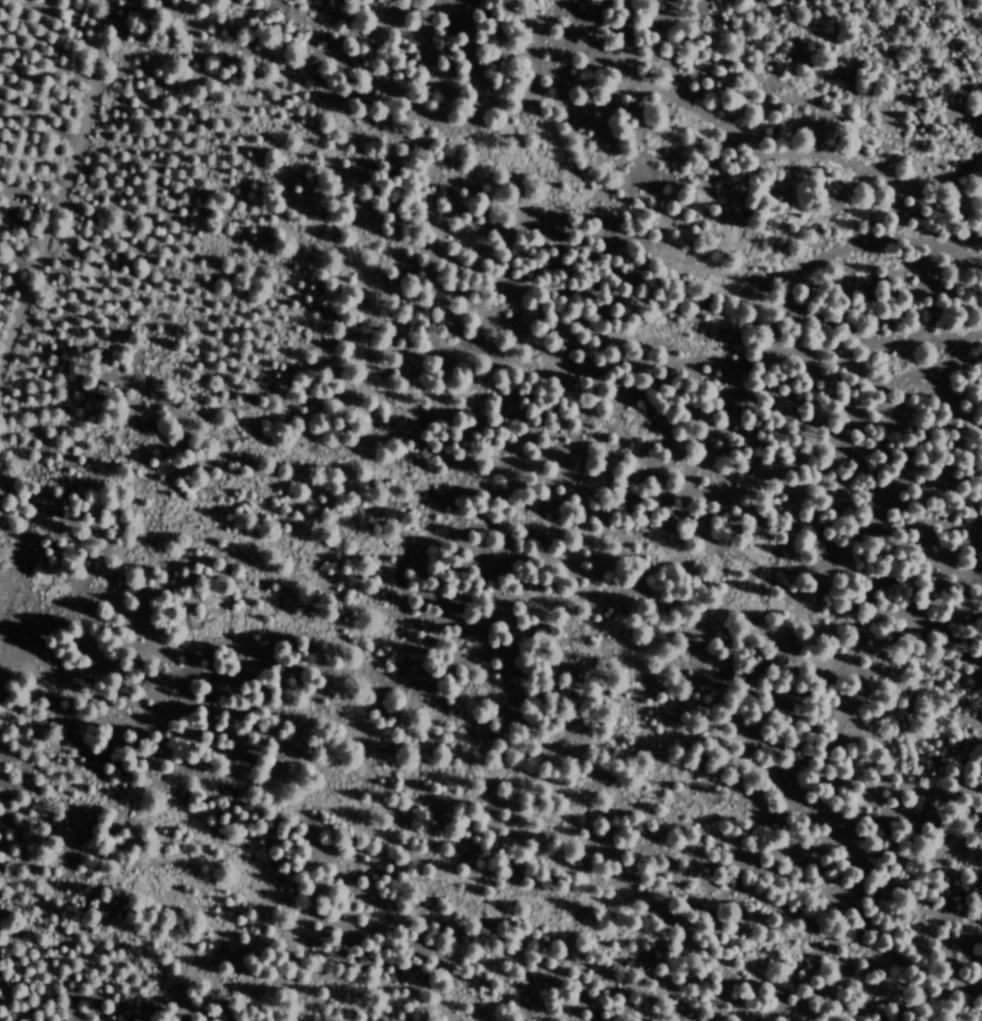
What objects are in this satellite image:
road: (70, 198)

